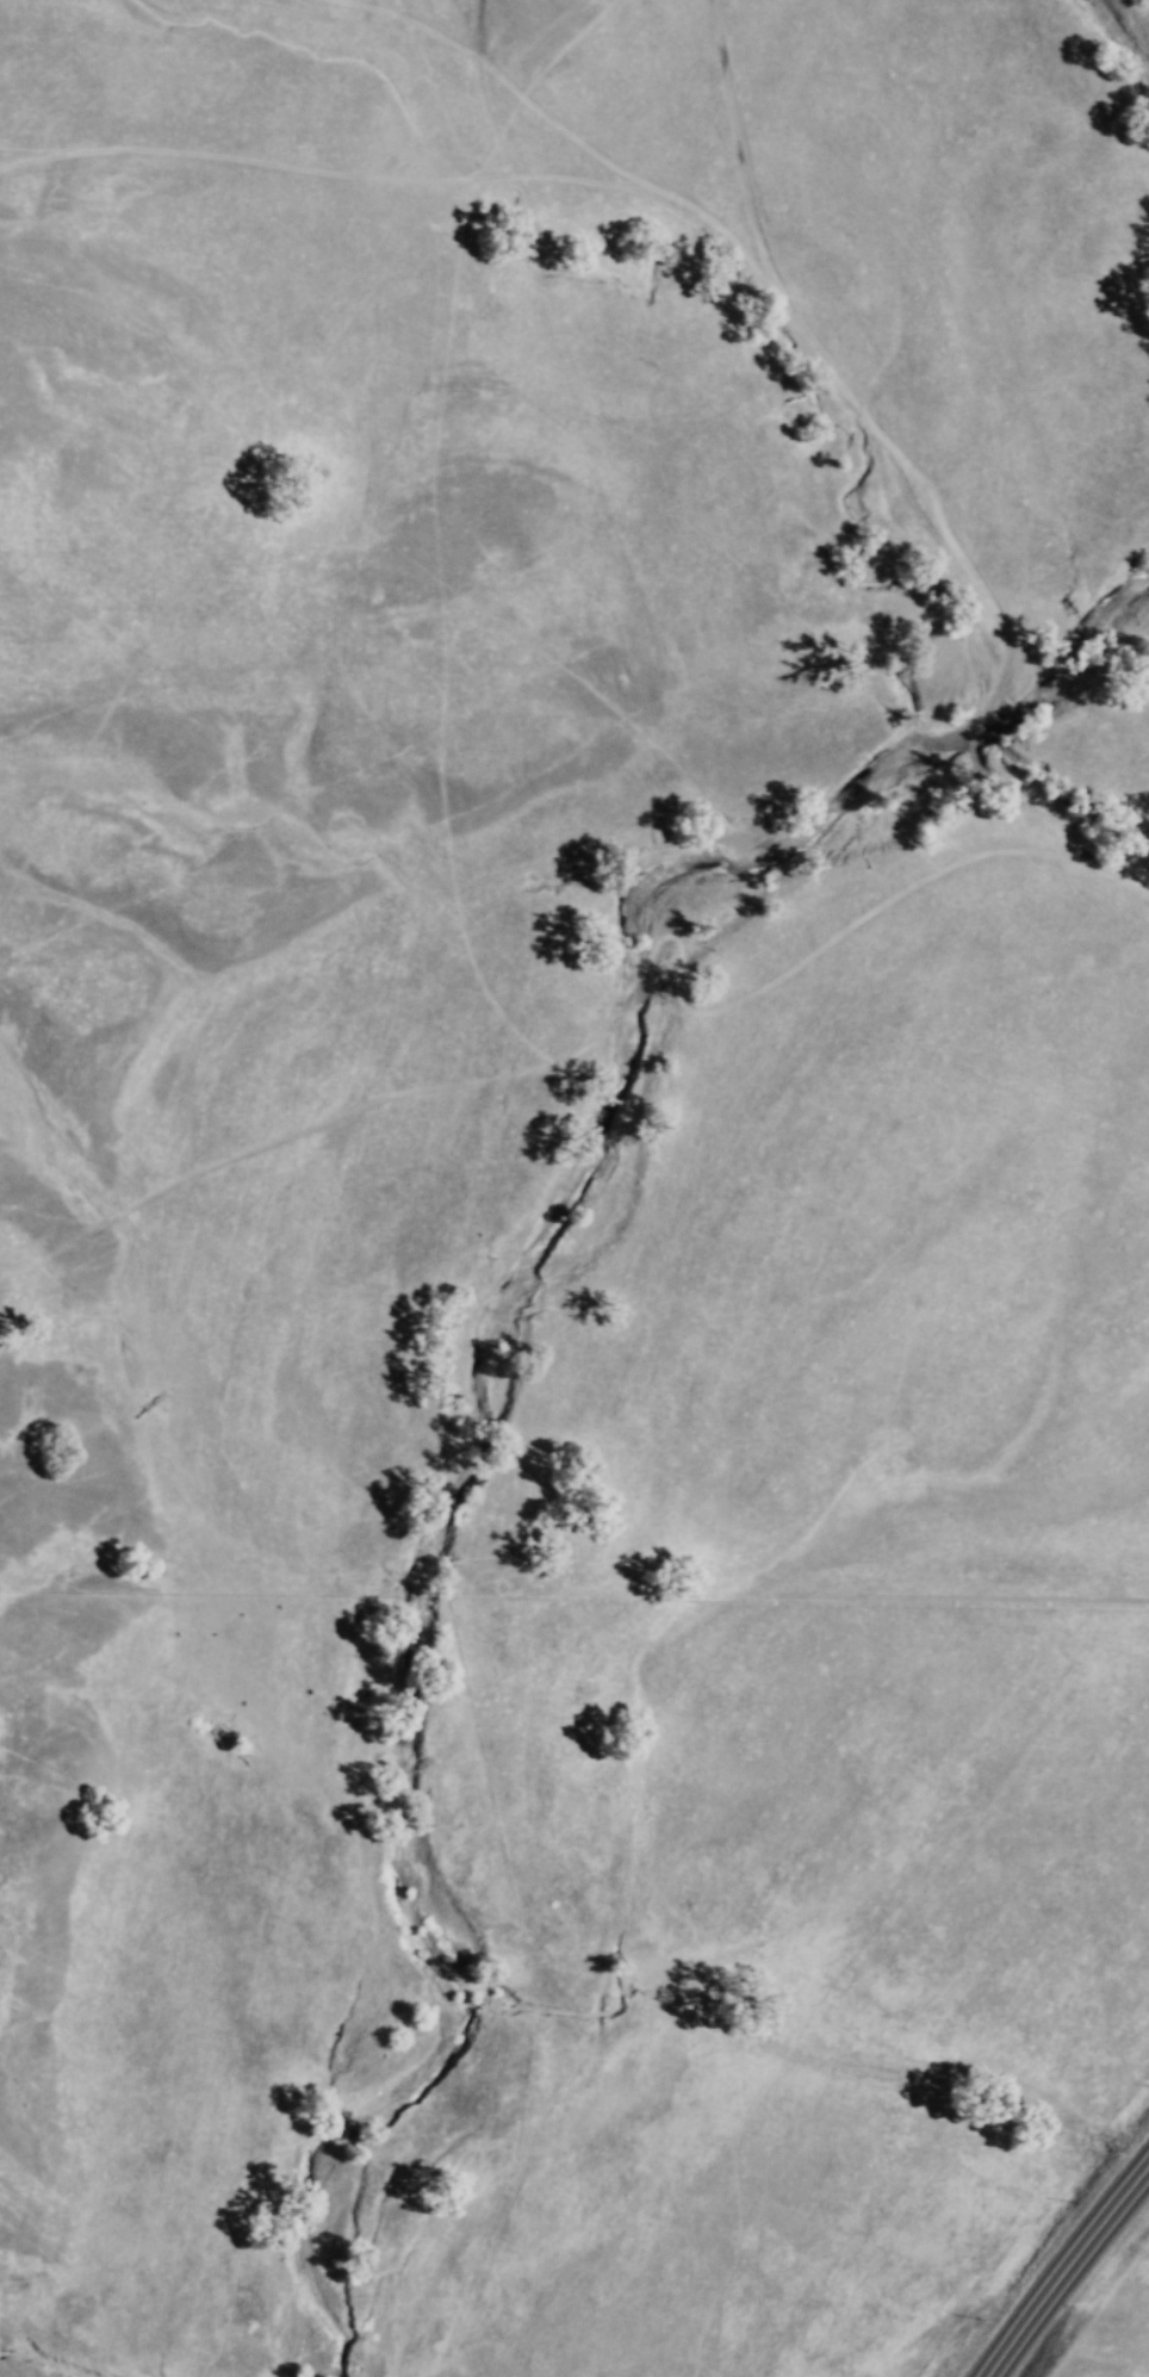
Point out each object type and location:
road: (908, 482)
road: (1063, 2266)

